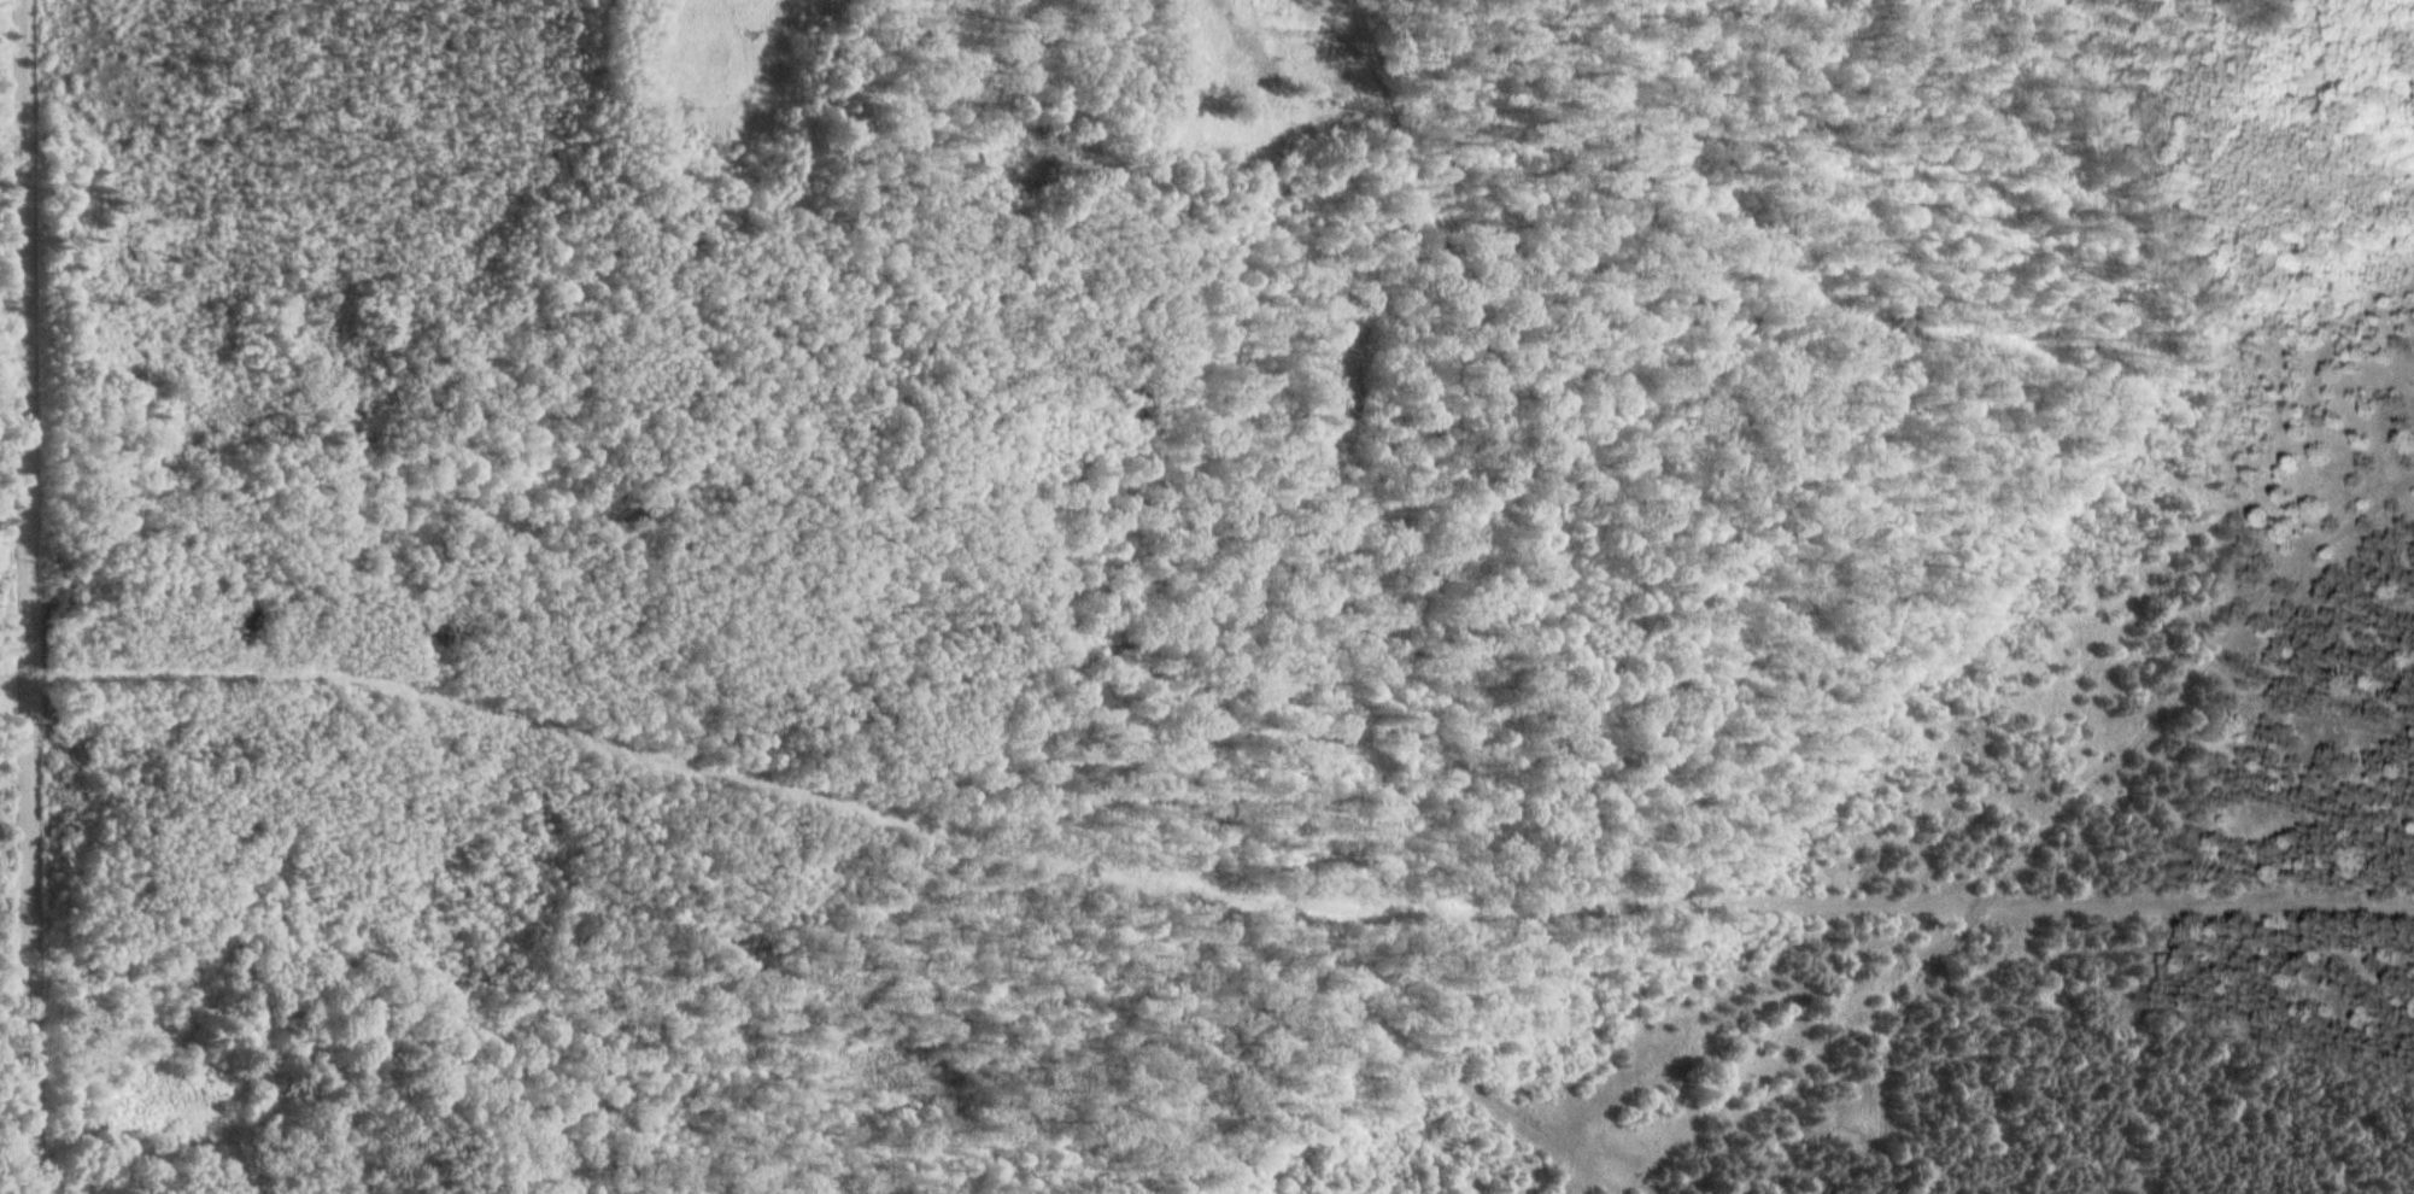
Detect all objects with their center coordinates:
road: (28, 597)
road: (2082, 791)
road: (2207, 897)

